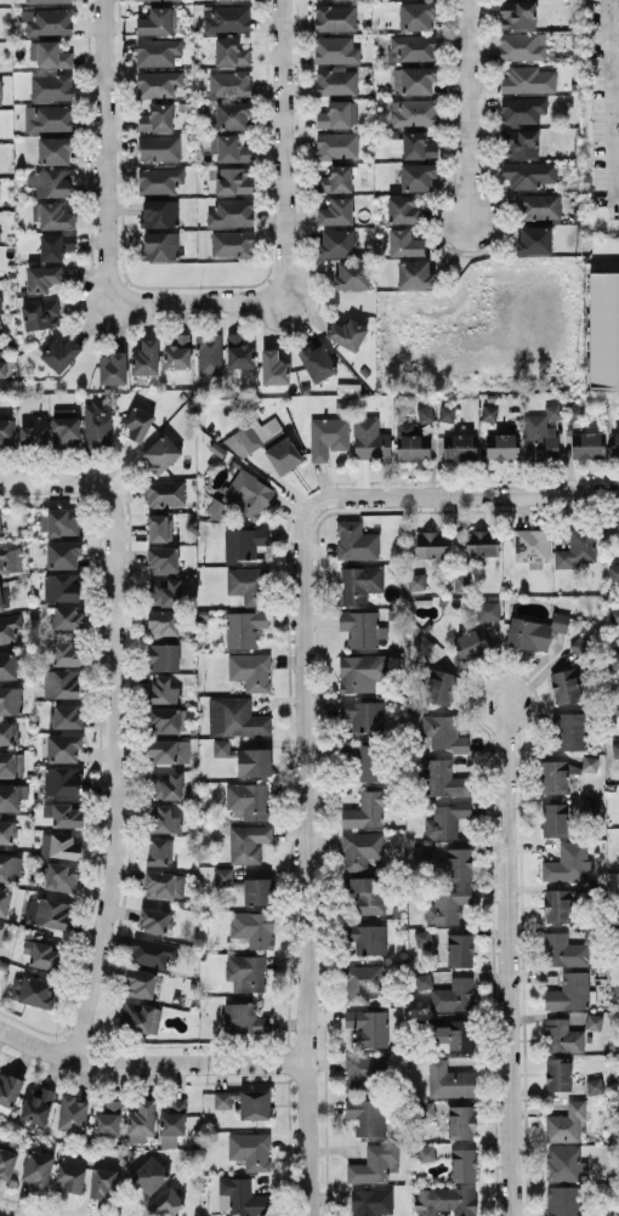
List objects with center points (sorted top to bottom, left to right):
building: (49, 0)
building: (135, 0)
road: (614, 7)
building: (517, 13)
building: (416, 15)
building: (334, 17)
building: (226, 18)
building: (47, 21)
building: (155, 21)
building: (522, 45)
building: (411, 47)
building: (335, 49)
building: (157, 51)
building: (231, 52)
building: (47, 53)
building: (528, 79)
building: (335, 80)
building: (414, 80)
building: (158, 83)
building: (229, 84)
building: (51, 86)
building: (0, 92)
road: (612, 92)
building: (522, 109)
building: (413, 112)
road: (467, 113)
building: (232, 114)
building: (337, 114)
building: (50, 118)
building: (157, 118)
building: (521, 142)
building: (336, 144)
building: (396, 144)
building: (418, 146)
building: (159, 148)
building: (229, 148)
building: (55, 149)
road: (283, 150)
road: (104, 152)
building: (526, 172)
building: (418, 176)
building: (335, 178)
building: (159, 180)
building: (233, 180)
building: (51, 182)
building: (539, 206)
building: (403, 209)
building: (336, 211)
building: (159, 212)
building: (231, 212)
building: (52, 216)
building: (534, 239)
building: (232, 243)
building: (336, 243)
building: (404, 243)
building: (55, 245)
building: (159, 245)
building: (414, 273)
building: (352, 274)
building: (41, 278)
road: (197, 302)
building: (40, 313)
building: (603, 329)
building: (346, 333)
building: (238, 351)
building: (177, 352)
building: (61, 353)
building: (209, 353)
building: (146, 358)
building: (317, 362)
building: (113, 366)
building: (273, 366)
building: (2, 368)
building: (575, 411)
building: (425, 413)
building: (447, 413)
building: (489, 413)
building: (138, 422)
building: (64, 427)
building: (96, 427)
building: (34, 431)
building: (5, 432)
building: (541, 433)
building: (252, 434)
building: (328, 436)
building: (370, 438)
building: (411, 442)
building: (586, 444)
building: (614, 444)
building: (501, 445)
building: (459, 447)
building: (161, 453)
building: (283, 454)
road: (52, 483)
building: (165, 493)
road: (462, 495)
building: (243, 496)
building: (61, 522)
building: (0, 528)
building: (159, 528)
building: (612, 528)
building: (356, 540)
building: (243, 542)
building: (482, 542)
building: (432, 544)
building: (530, 544)
building: (578, 547)
building: (62, 555)
building: (10, 559)
building: (163, 559)
building: (614, 570)
building: (416, 580)
building: (360, 583)
building: (461, 583)
building: (245, 585)
building: (62, 586)
building: (164, 591)
building: (4, 597)
building: (487, 610)
building: (614, 615)
building: (67, 616)
building: (163, 623)
building: (8, 627)
building: (244, 627)
building: (362, 627)
building: (535, 631)
building: (472, 642)
building: (424, 643)
building: (579, 644)
building: (67, 653)
building: (164, 657)
building: (614, 659)
building: (7, 665)
building: (250, 670)
building: (61, 683)
building: (441, 686)
building: (564, 686)
building: (163, 689)
building: (10, 700)
building: (360, 715)
building: (66, 716)
building: (234, 717)
building: (617, 718)
building: (165, 720)
building: (568, 731)
building: (7, 732)
building: (443, 733)
building: (63, 746)
building: (221, 746)
building: (615, 749)
building: (169, 750)
building: (254, 761)
building: (367, 761)
building: (11, 763)
building: (590, 763)
road: (113, 775)
building: (553, 775)
building: (443, 778)
building: (62, 779)
building: (166, 784)
building: (10, 796)
building: (246, 800)
building: (590, 805)
building: (367, 808)
building: (62, 813)
building: (553, 818)
building: (164, 819)
building: (445, 819)
building: (7, 831)
building: (248, 842)
building: (59, 845)
building: (359, 848)
building: (159, 850)
road: (303, 860)
building: (568, 862)
building: (458, 863)
building: (10, 866)
building: (223, 875)
building: (61, 876)
building: (164, 885)
building: (256, 891)
building: (367, 893)
building: (5, 900)
building: (556, 904)
building: (52, 913)
building: (154, 920)
building: (617, 926)
building: (252, 927)
building: (1, 930)
building: (368, 938)
building: (422, 938)
building: (459, 949)
building: (563, 949)
building: (152, 951)
building: (44, 955)
road: (511, 959)
building: (245, 972)
building: (422, 981)
building: (138, 983)
building: (362, 983)
building: (32, 990)
building: (569, 991)
building: (454, 994)
building: (140, 1016)
building: (243, 1018)
building: (594, 1021)
building: (368, 1025)
building: (453, 1033)
building: (561, 1035)
road: (148, 1063)
building: (363, 1070)
building: (557, 1074)
building: (449, 1080)
building: (595, 1085)
building: (8, 1091)
building: (225, 1099)
building: (254, 1103)
building: (36, 1104)
building: (426, 1108)
building: (72, 1113)
building: (367, 1115)
building: (108, 1118)
building: (141, 1121)
building: (461, 1121)
building: (172, 1123)
building: (566, 1123)
building: (250, 1149)
building: (427, 1152)
building: (6, 1163)
building: (563, 1163)
building: (374, 1164)
building: (462, 1164)
building: (38, 1167)
building: (70, 1172)
building: (149, 1174)
building: (102, 1182)
building: (240, 1197)
building: (562, 1200)
building: (371, 1201)
building: (445, 1201)
building: (164, 1203)

